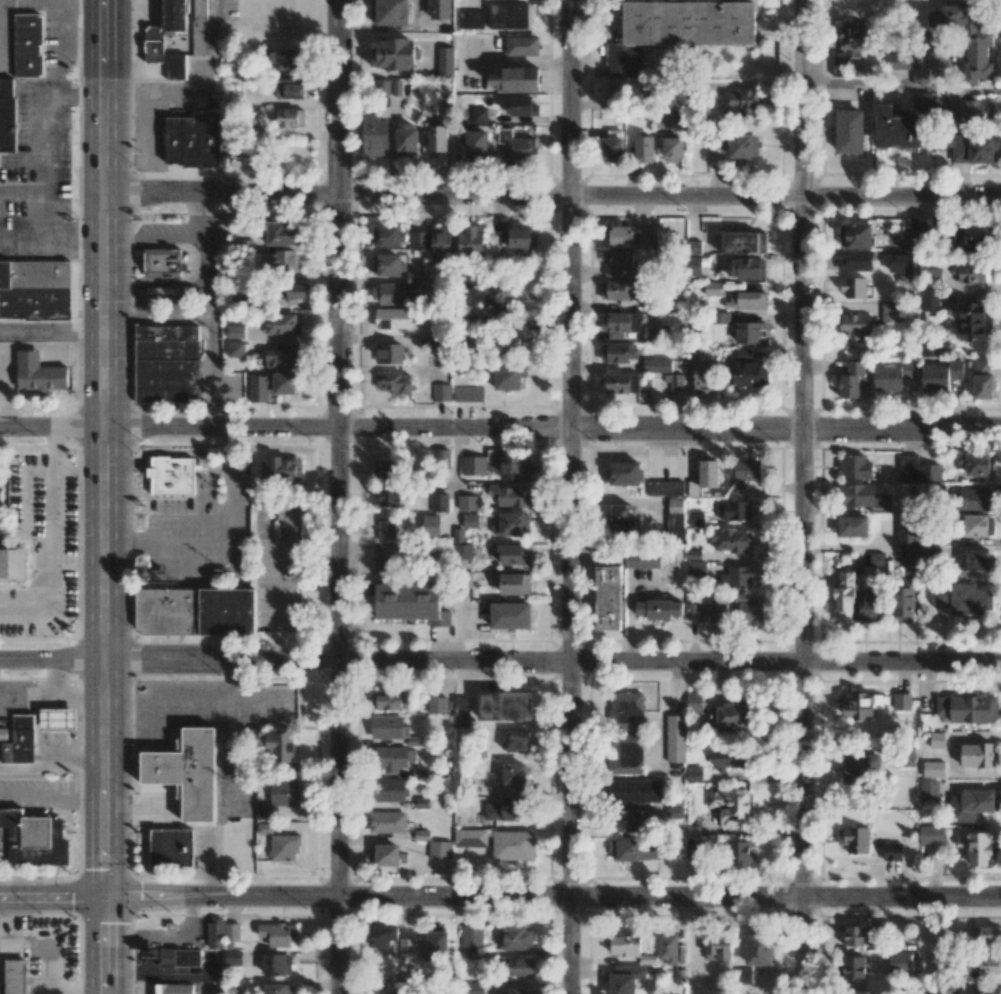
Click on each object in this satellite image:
road: (84, 0)
building: (440, 9)
building: (390, 12)
building: (508, 15)
building: (471, 19)
building: (695, 22)
building: (178, 36)
building: (967, 38)
building: (522, 45)
building: (850, 45)
building: (29, 46)
road: (63, 46)
building: (393, 53)
building: (287, 59)
building: (445, 61)
building: (516, 79)
building: (383, 87)
road: (900, 88)
building: (289, 89)
building: (618, 89)
road: (77, 93)
building: (923, 100)
building: (941, 100)
building: (742, 102)
building: (519, 105)
building: (975, 111)
building: (479, 114)
building: (7, 116)
building: (291, 117)
building: (664, 119)
building: (896, 128)
building: (849, 131)
building: (375, 136)
building: (437, 138)
building: (194, 140)
building: (406, 140)
road: (52, 143)
building: (476, 144)
building: (516, 145)
building: (743, 146)
building: (236, 148)
building: (611, 149)
building: (644, 149)
building: (672, 149)
building: (974, 149)
road: (551, 196)
road: (63, 208)
building: (926, 227)
building: (281, 233)
building: (386, 235)
building: (630, 235)
building: (855, 235)
building: (970, 236)
road: (31, 237)
building: (419, 239)
building: (522, 239)
building: (909, 239)
building: (471, 240)
building: (441, 241)
building: (743, 242)
building: (693, 248)
building: (857, 260)
building: (282, 262)
building: (618, 262)
building: (158, 263)
building: (386, 264)
building: (746, 267)
building: (972, 273)
building: (415, 278)
building: (712, 287)
building: (853, 288)
building: (622, 289)
building: (38, 290)
building: (292, 292)
building: (388, 293)
building: (497, 300)
building: (747, 300)
building: (930, 300)
building: (890, 312)
building: (720, 317)
building: (393, 318)
building: (974, 321)
building: (282, 323)
building: (620, 323)
building: (855, 325)
building: (235, 331)
road: (51, 332)
building: (751, 332)
building: (650, 333)
building: (508, 342)
building: (928, 346)
building: (235, 349)
building: (618, 352)
building: (389, 353)
building: (282, 356)
building: (168, 363)
building: (657, 365)
building: (41, 374)
building: (702, 374)
building: (749, 374)
building: (893, 376)
building: (940, 376)
building: (509, 377)
building: (982, 379)
building: (853, 380)
building: (394, 381)
building: (622, 382)
building: (674, 382)
building: (271, 385)
building: (442, 392)
building: (468, 393)
road: (51, 427)
road: (552, 429)
road: (53, 444)
building: (977, 464)
building: (473, 465)
building: (855, 466)
building: (907, 467)
building: (282, 468)
building: (387, 468)
building: (514, 468)
building: (930, 472)
building: (625, 473)
building: (744, 475)
building: (174, 476)
building: (705, 477)
building: (665, 487)
building: (510, 495)
building: (856, 495)
building: (390, 496)
road: (570, 496)
road: (103, 497)
road: (338, 497)
road: (801, 497)
building: (976, 500)
building: (439, 502)
building: (467, 502)
building: (882, 502)
building: (0, 505)
building: (733, 510)
building: (696, 518)
building: (624, 519)
building: (675, 519)
building: (470, 520)
building: (512, 524)
building: (431, 525)
building: (978, 525)
building: (852, 526)
building: (387, 529)
building: (909, 536)
building: (731, 540)
building: (461, 545)
building: (909, 553)
building: (514, 554)
building: (693, 554)
road: (53, 556)
building: (876, 559)
building: (642, 560)
building: (977, 561)
road: (78, 562)
building: (12, 563)
building: (696, 569)
building: (382, 570)
building: (734, 577)
building: (515, 583)
building: (844, 594)
building: (608, 597)
building: (967, 599)
building: (411, 603)
building: (903, 604)
building: (868, 605)
building: (659, 608)
building: (749, 611)
building: (197, 612)
building: (708, 612)
building: (511, 615)
road: (500, 661)
building: (391, 700)
building: (901, 701)
building: (694, 702)
building: (437, 704)
building: (862, 704)
building: (505, 705)
building: (968, 708)
building: (627, 710)
building: (462, 712)
building: (733, 715)
building: (59, 720)
building: (389, 727)
building: (676, 738)
building: (936, 739)
building: (517, 741)
building: (19, 742)
building: (279, 749)
building: (976, 754)
building: (627, 755)
building: (907, 756)
building: (731, 757)
building: (393, 758)
building: (860, 768)
building: (933, 769)
building: (694, 772)
building: (515, 776)
building: (185, 779)
building: (389, 790)
building: (635, 790)
building: (929, 790)
road: (52, 794)
building: (280, 797)
building: (979, 801)
building: (422, 802)
building: (731, 806)
building: (504, 810)
building: (629, 820)
building: (387, 822)
building: (693, 832)
building: (931, 834)
building: (422, 835)
building: (470, 837)
building: (854, 838)
building: (32, 840)
building: (513, 845)
building: (976, 846)
building: (285, 847)
building: (173, 849)
building: (440, 849)
building: (696, 849)
building: (633, 850)
building: (740, 851)
building: (892, 851)
building: (384, 854)
traffic signals: (106, 895)
road: (500, 898)
building: (232, 931)
building: (215, 933)
building: (276, 934)
building: (382, 935)
building: (990, 935)
building: (472, 936)
building: (854, 936)
building: (517, 937)
building: (436, 942)
building: (625, 945)
building: (668, 947)
building: (407, 948)
building: (718, 948)
building: (758, 949)
building: (470, 953)
building: (182, 957)
building: (899, 961)
building: (278, 964)
building: (518, 966)
building: (858, 973)
building: (17, 976)
building: (743, 976)
building: (626, 979)
building: (171, 988)
building: (473, 988)
building: (278, 989)
building: (985, 990)
building: (519, 991)
building: (390, 992)

